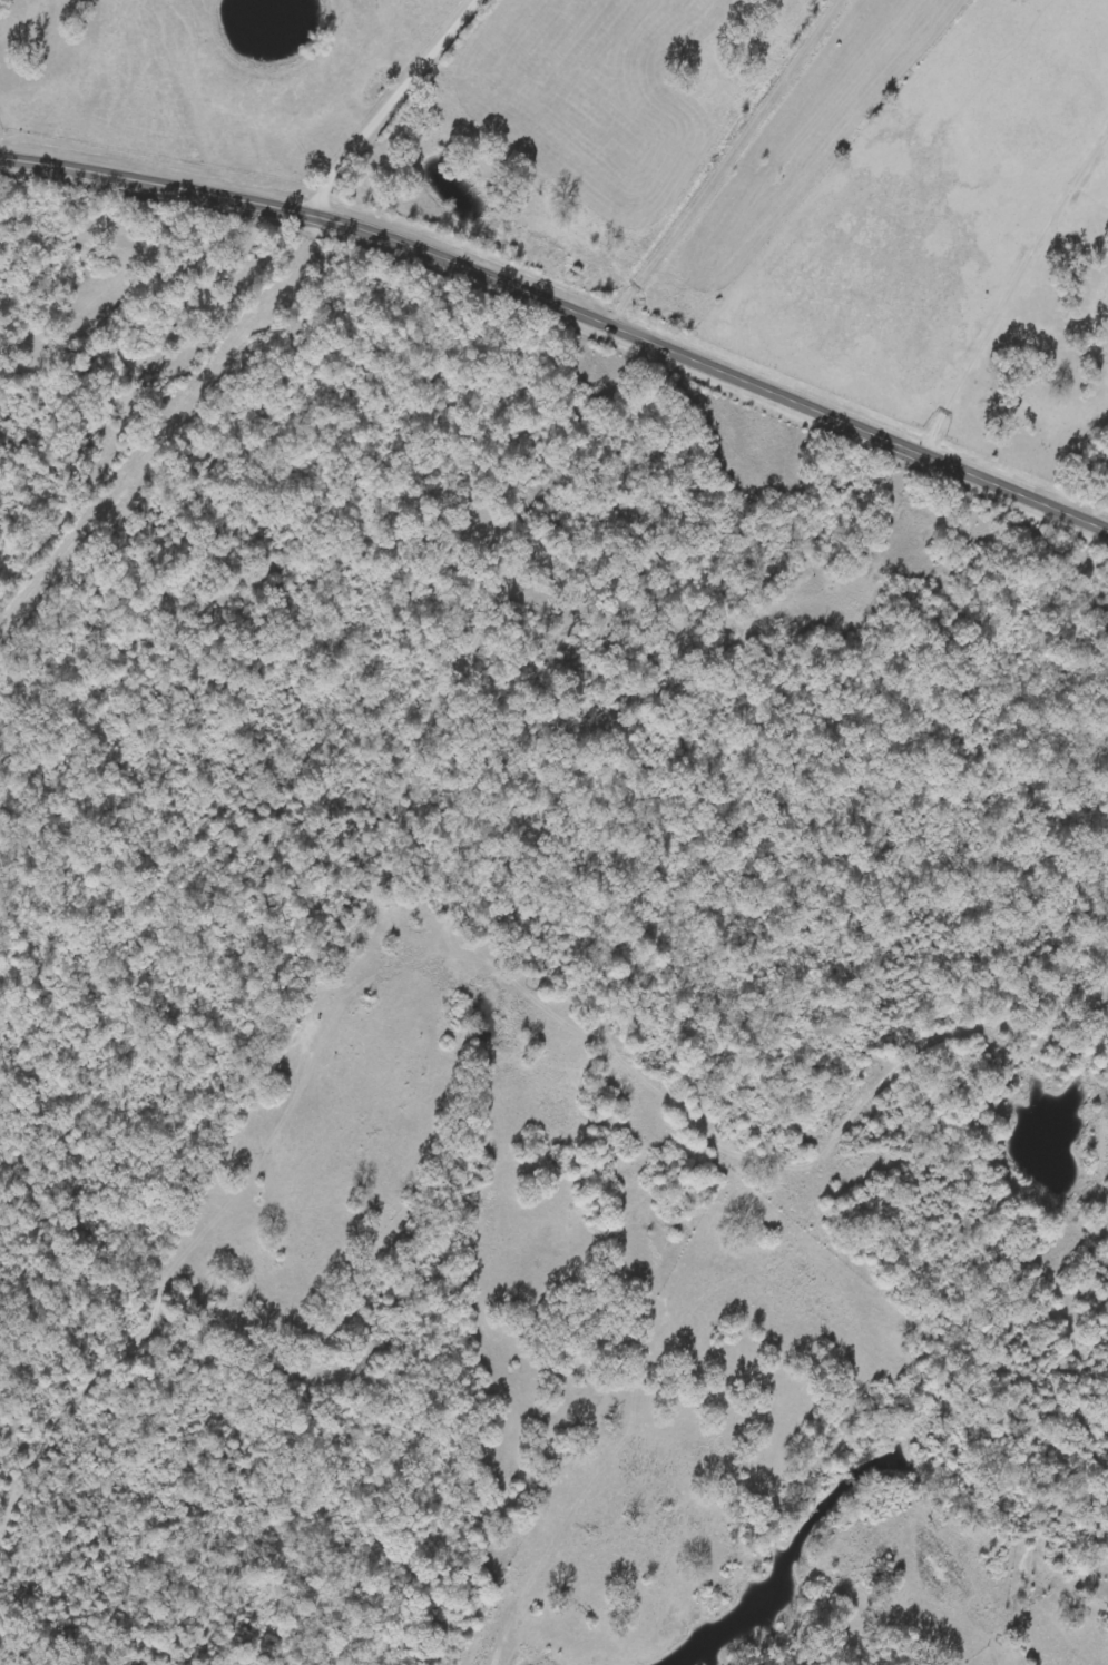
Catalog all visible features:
road: (210, 97)
road: (728, 162)
road: (565, 306)

